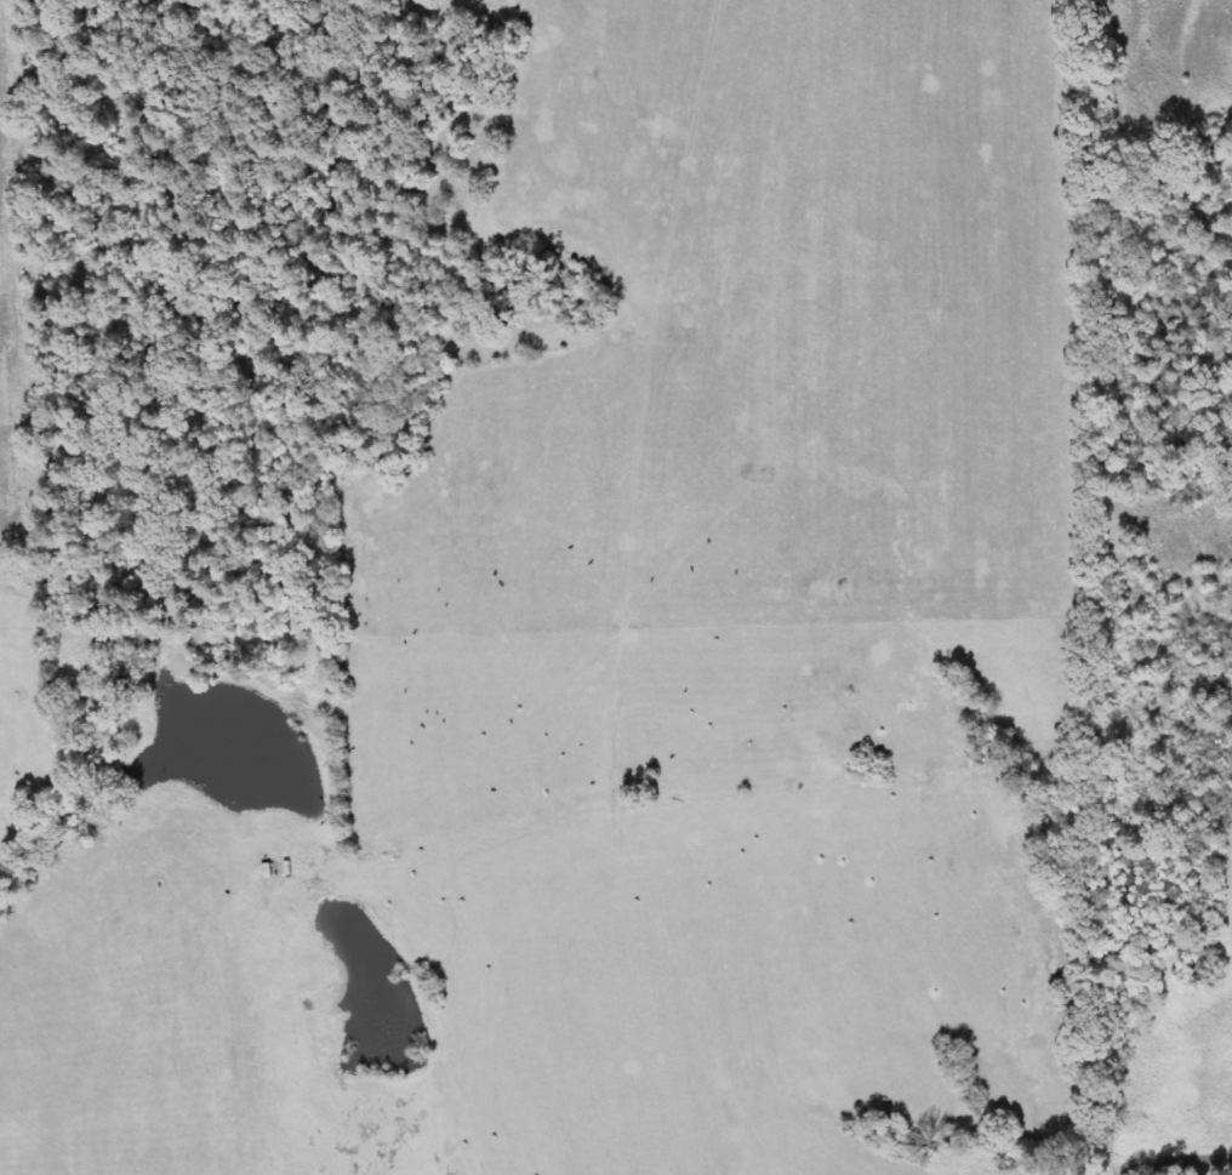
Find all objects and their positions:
road: (1177, 1160)

